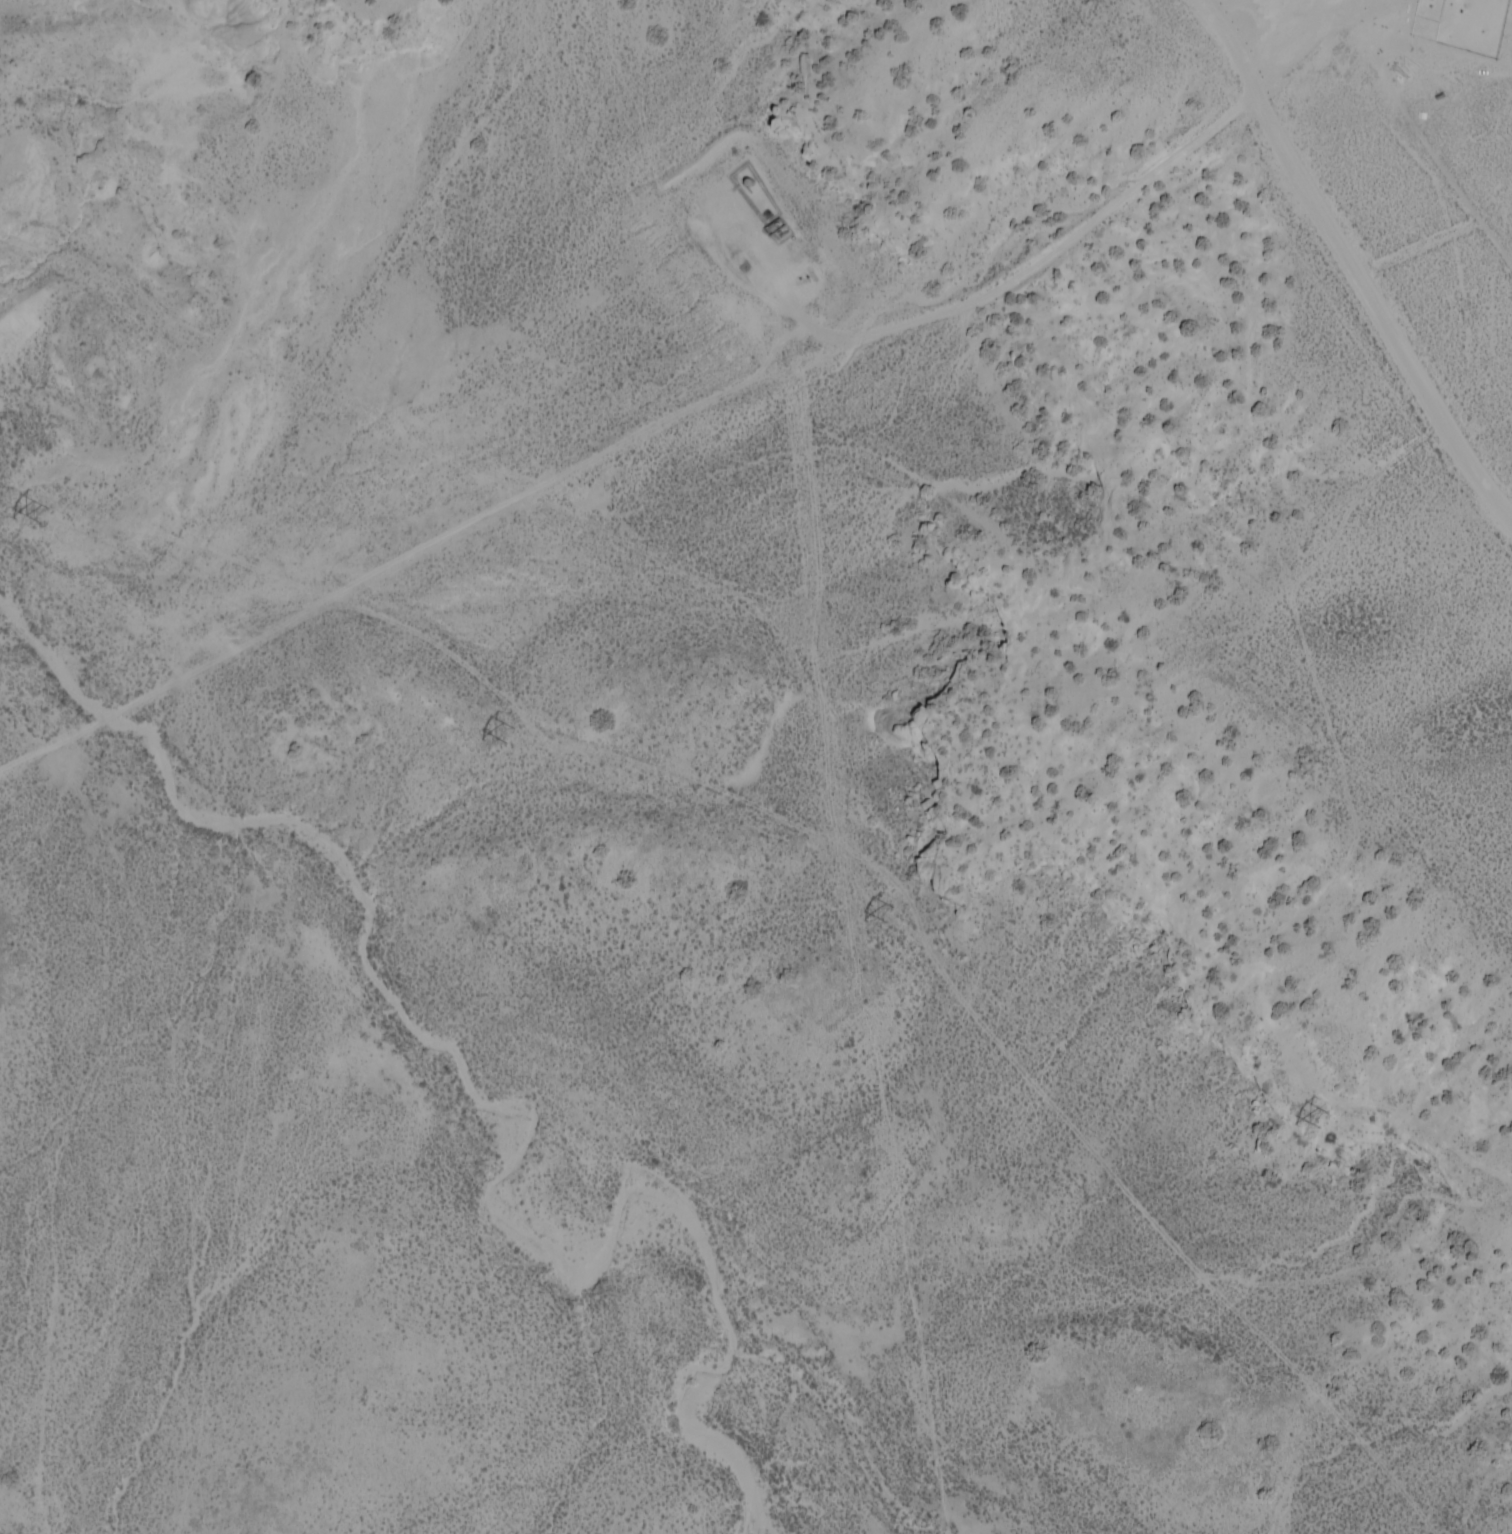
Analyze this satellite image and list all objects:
road: (1351, 261)
power tower: (41, 518)
power tower: (510, 739)
power tower: (884, 918)
power tower: (1318, 1122)

